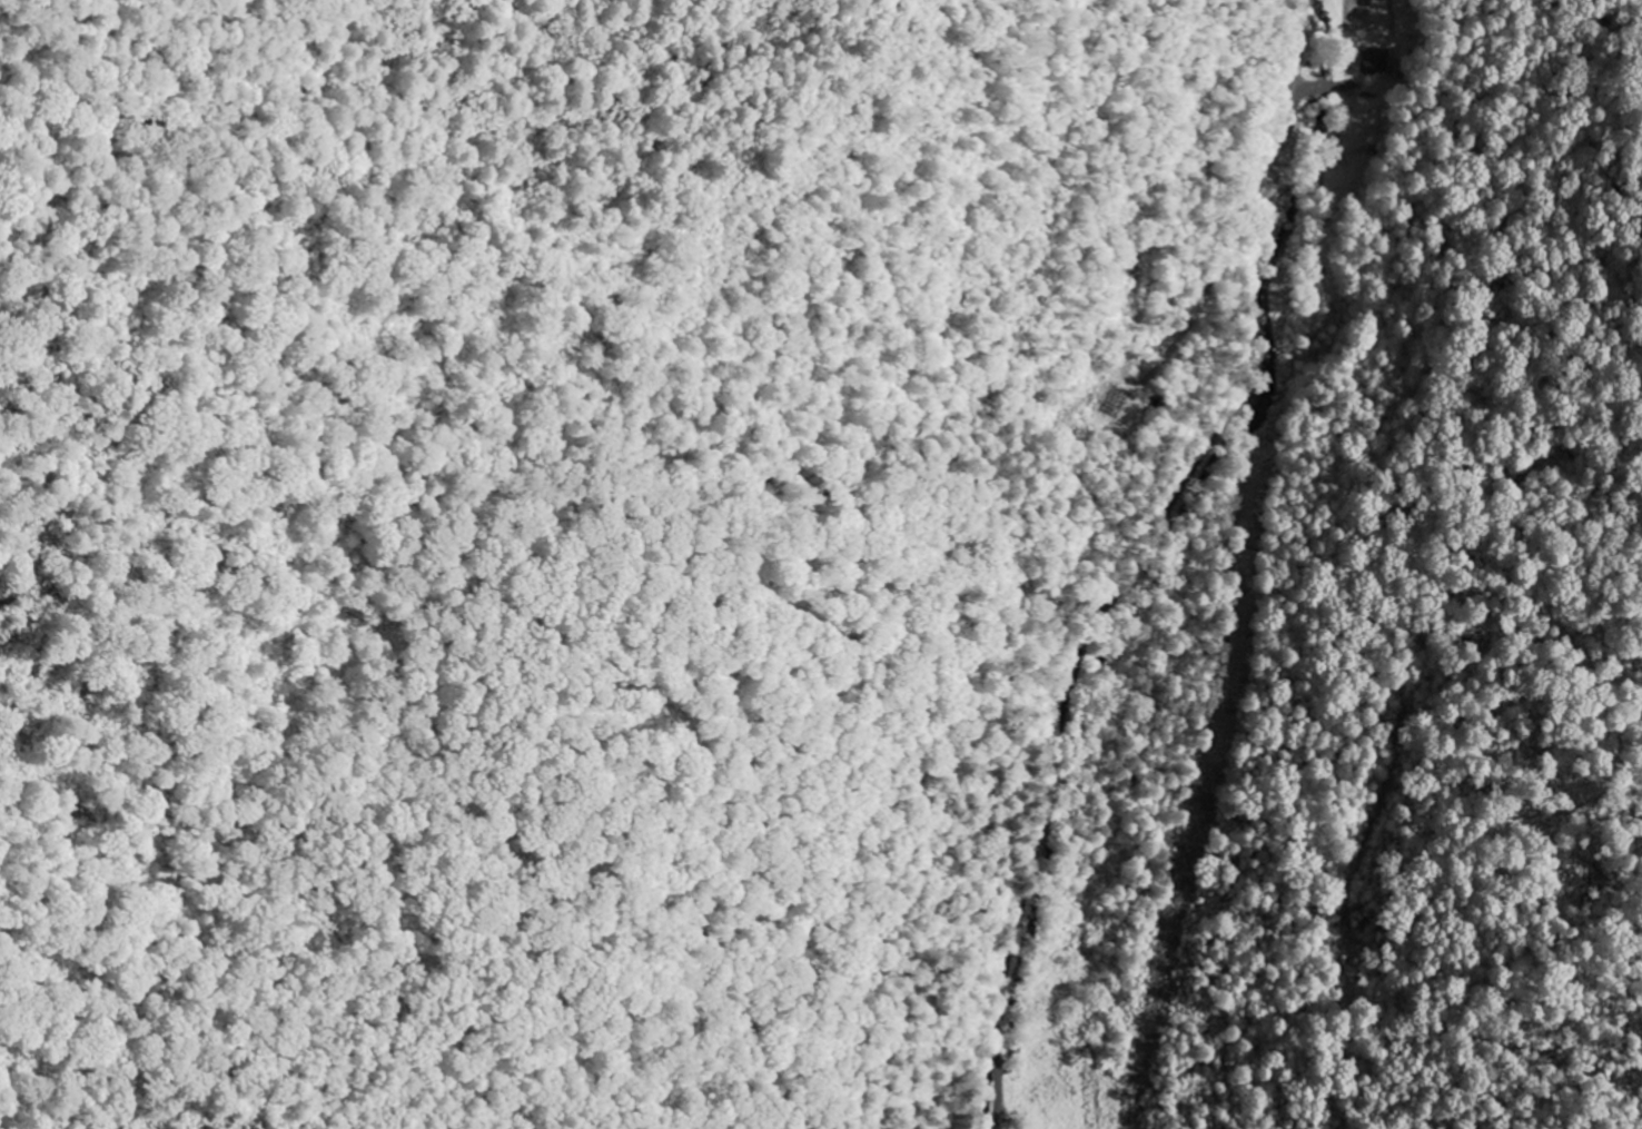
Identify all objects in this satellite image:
building: (1373, 61)
road: (1140, 561)

